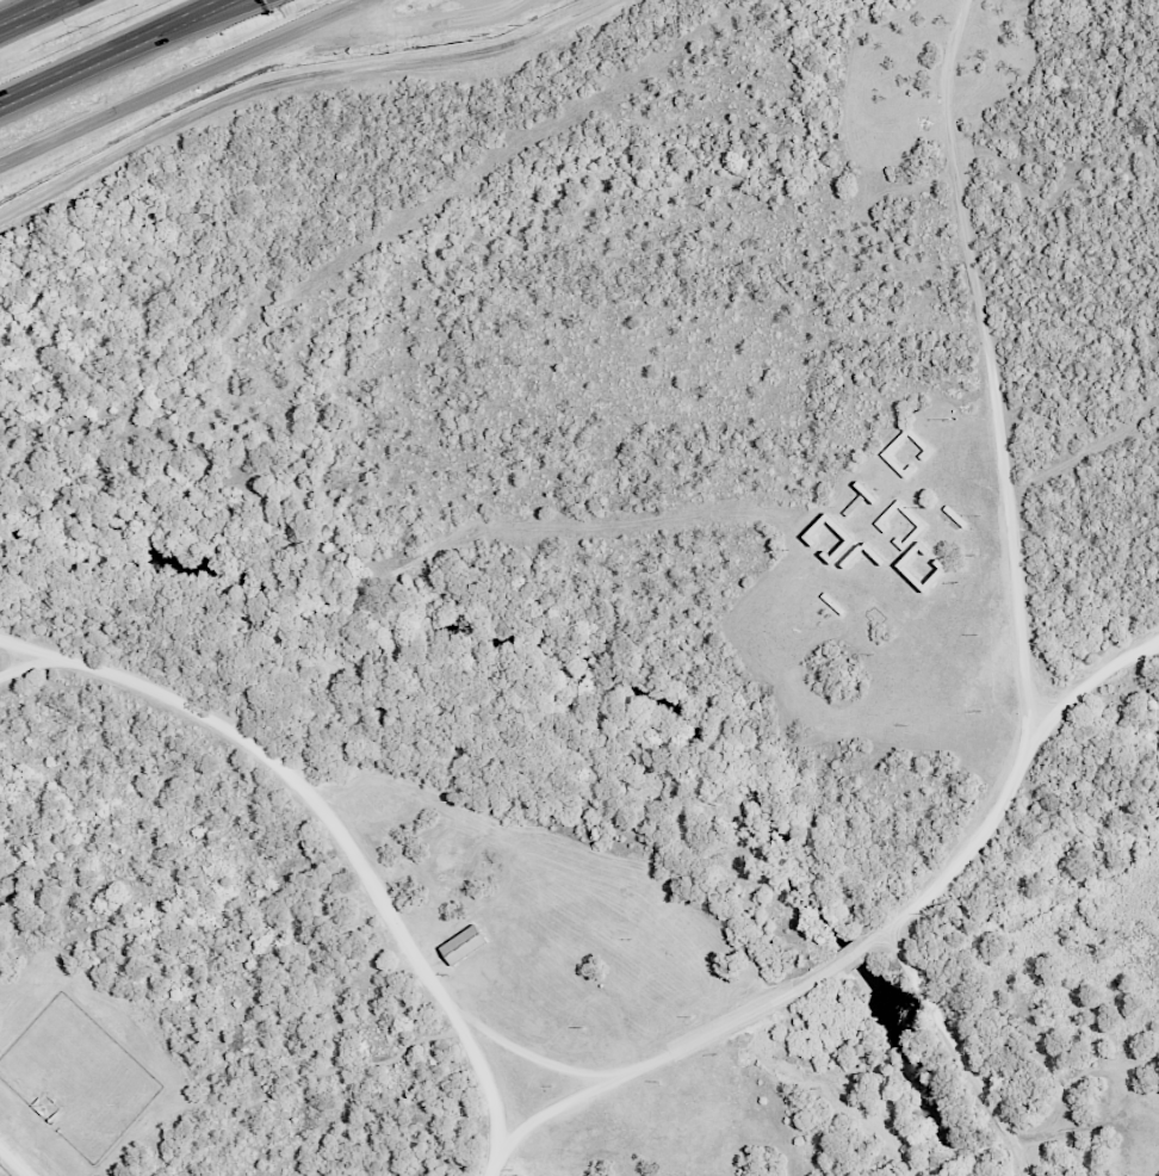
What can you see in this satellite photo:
road: (24, 13)
road: (35, 16)
road: (202, 19)
road: (210, 19)
road: (80, 73)
road: (186, 83)
road: (29, 666)
road: (1089, 687)
road: (1033, 724)
road: (334, 833)
building: (463, 945)
road: (963, 1051)
road: (541, 1064)
road: (791, 1067)
road: (11, 1164)

